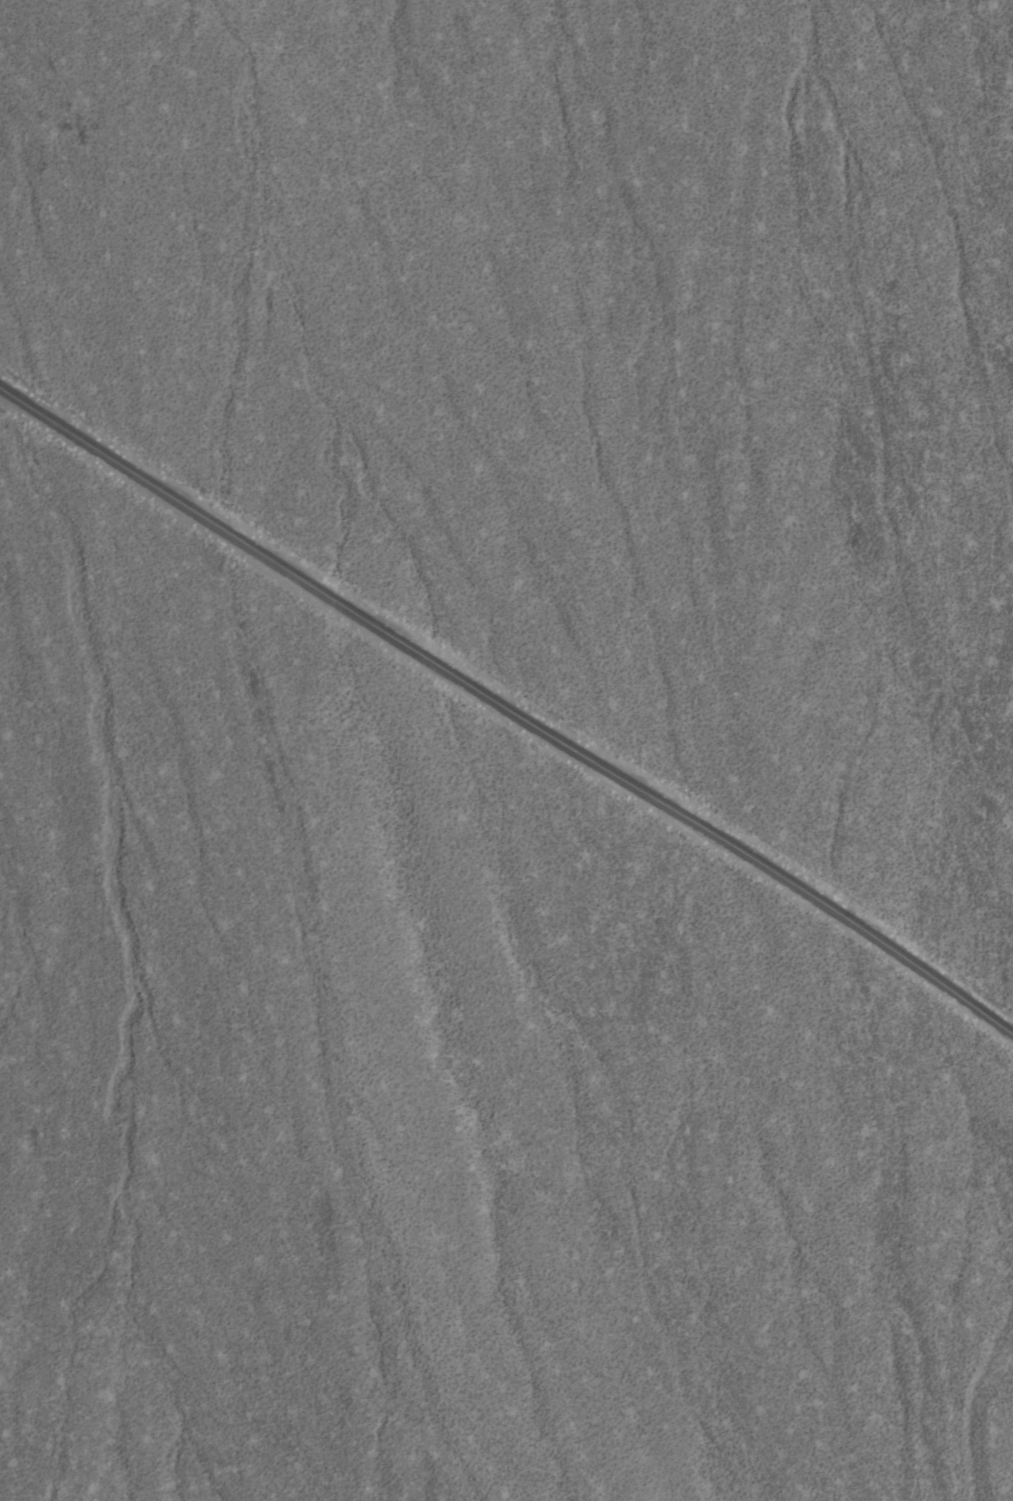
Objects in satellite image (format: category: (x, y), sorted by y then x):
road: (507, 707)

